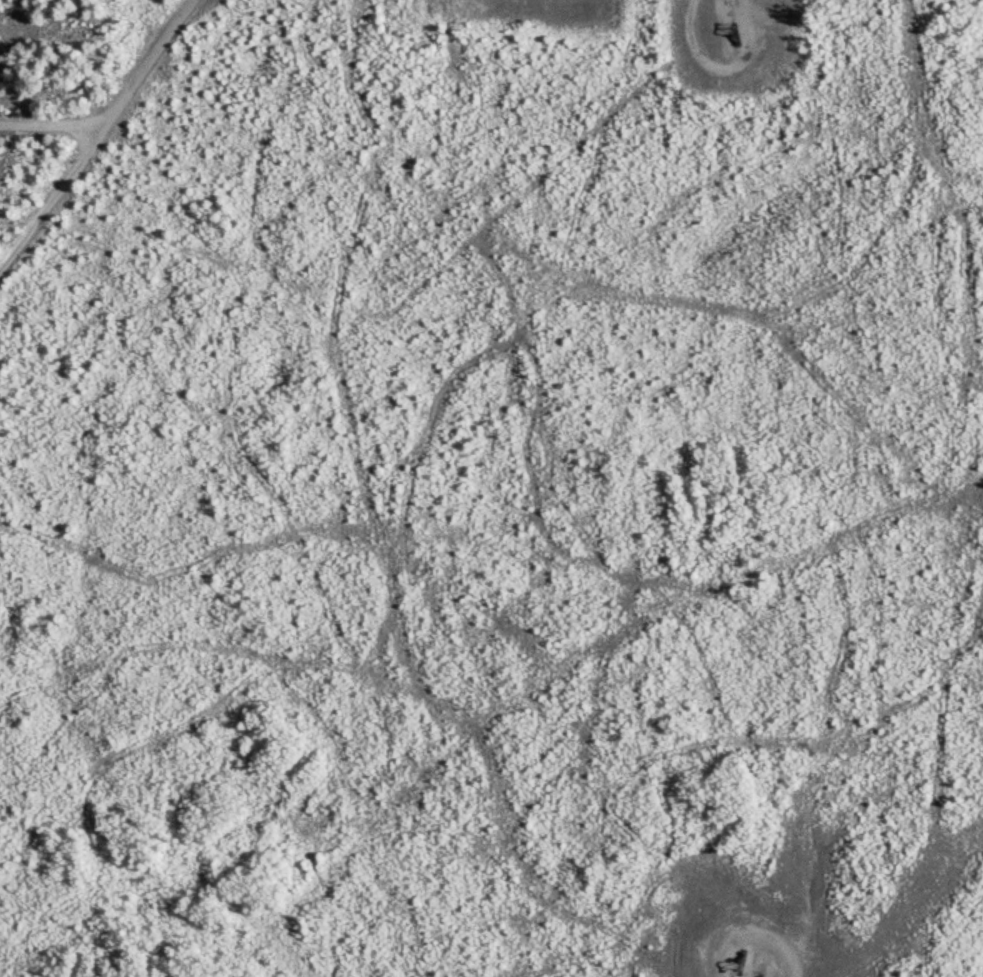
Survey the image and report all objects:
road: (738, 3)
petroleum well: (733, 37)
road: (51, 130)
road: (94, 138)
petroleum well: (738, 973)

